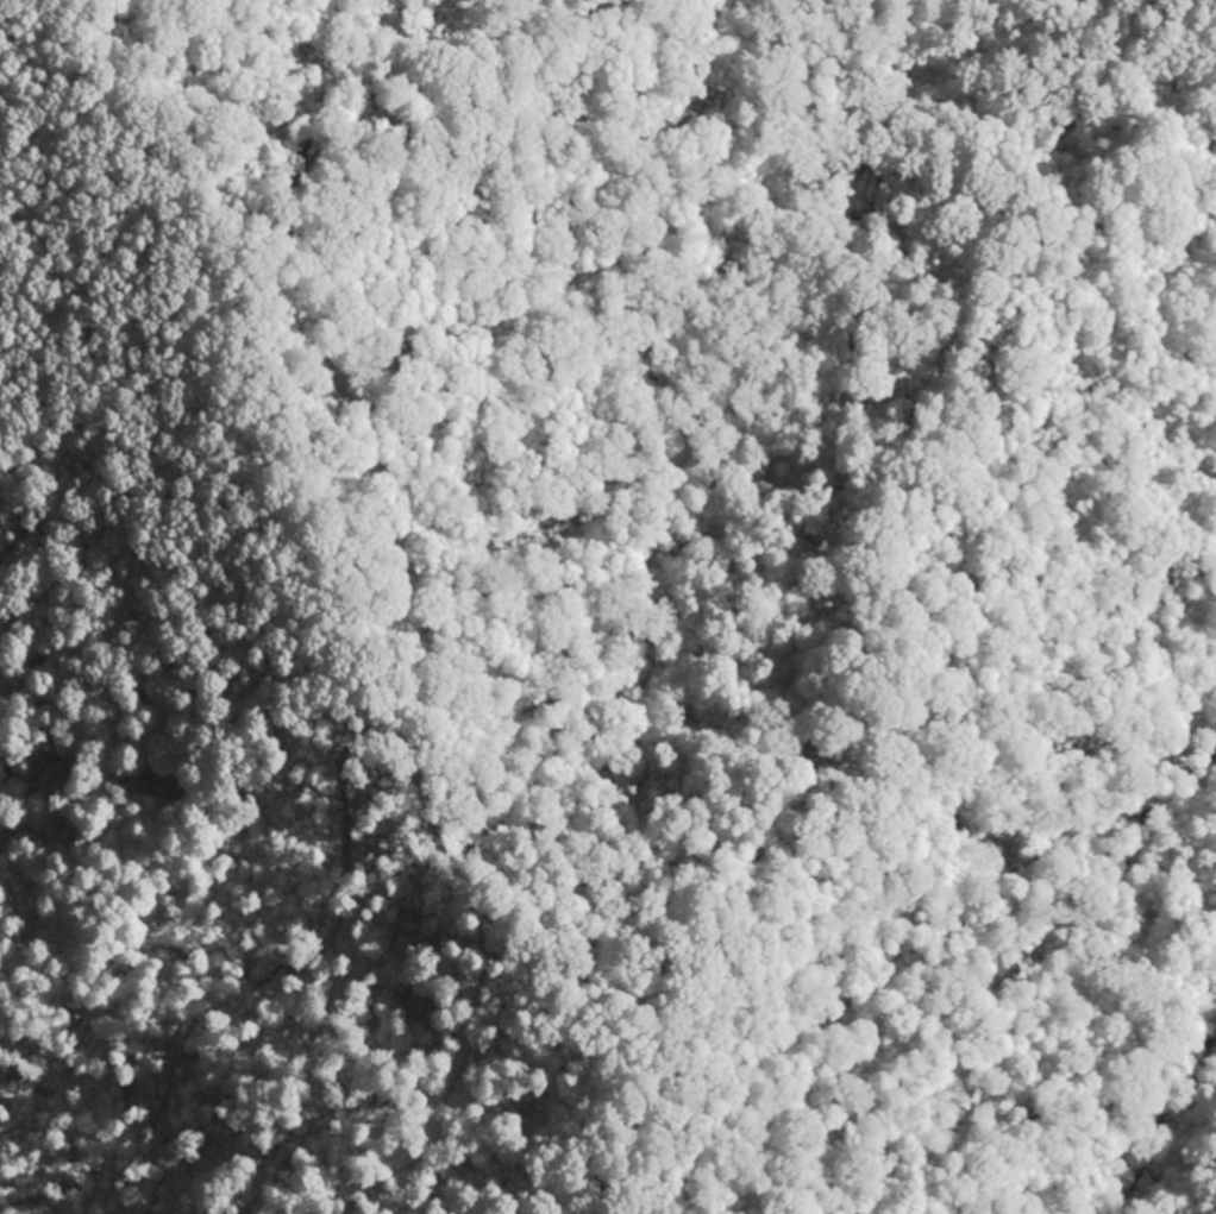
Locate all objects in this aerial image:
road: (923, 1181)

